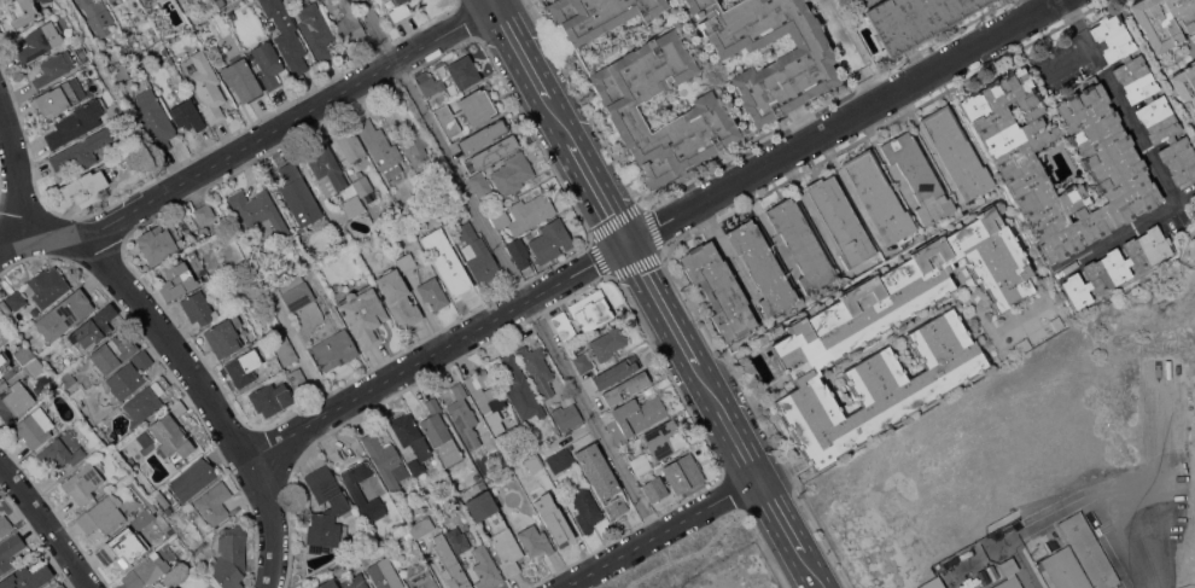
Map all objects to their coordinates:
building: (110, 0)
building: (151, 0)
building: (115, 1)
road: (495, 2)
road: (1049, 2)
building: (208, 4)
building: (400, 10)
building: (18, 13)
building: (97, 14)
building: (597, 14)
building: (914, 19)
building: (348, 21)
building: (1164, 21)
building: (316, 29)
building: (286, 35)
building: (40, 40)
road: (852, 51)
building: (266, 63)
road: (1066, 64)
road: (532, 66)
building: (797, 66)
building: (48, 68)
building: (449, 76)
building: (241, 77)
building: (1184, 82)
building: (205, 83)
building: (59, 95)
building: (1146, 95)
building: (705, 107)
building: (467, 110)
building: (188, 115)
building: (155, 120)
building: (75, 122)
road: (280, 127)
building: (483, 135)
building: (350, 142)
building: (380, 147)
building: (81, 150)
building: (491, 152)
building: (956, 152)
building: (424, 161)
building: (1113, 163)
road: (1148, 163)
building: (327, 169)
building: (512, 173)
building: (919, 175)
building: (89, 182)
building: (362, 182)
building: (479, 182)
road: (599, 186)
building: (298, 194)
building: (879, 198)
building: (352, 205)
building: (223, 206)
building: (258, 211)
building: (204, 213)
building: (524, 213)
building: (839, 220)
road: (653, 229)
building: (443, 239)
building: (550, 239)
building: (159, 241)
road: (28, 243)
traffic signals: (631, 243)
building: (801, 244)
building: (1193, 250)
building: (477, 252)
building: (192, 254)
building: (520, 254)
building: (404, 257)
road: (514, 264)
building: (1118, 264)
building: (762, 266)
building: (453, 276)
building: (177, 279)
building: (45, 281)
building: (718, 289)
building: (433, 292)
building: (298, 295)
building: (398, 297)
building: (16, 298)
building: (198, 308)
building: (590, 309)
building: (64, 314)
building: (365, 314)
road: (674, 318)
building: (0, 325)
building: (564, 325)
building: (94, 326)
road: (156, 327)
building: (0, 330)
building: (223, 336)
building: (827, 338)
building: (607, 343)
building: (284, 347)
building: (336, 348)
building: (112, 353)
building: (24, 354)
building: (4, 361)
building: (583, 361)
building: (36, 366)
building: (243, 367)
building: (538, 368)
building: (617, 371)
building: (129, 373)
building: (65, 377)
building: (297, 377)
building: (626, 386)
building: (520, 388)
building: (485, 391)
building: (77, 392)
building: (272, 397)
building: (13, 400)
building: (146, 400)
building: (177, 407)
building: (566, 413)
building: (636, 414)
building: (464, 415)
building: (35, 426)
building: (441, 433)
road: (739, 433)
building: (410, 435)
building: (171, 438)
building: (664, 438)
building: (541, 452)
building: (59, 453)
building: (386, 460)
building: (558, 460)
building: (641, 462)
building: (416, 466)
building: (519, 471)
building: (538, 471)
building: (686, 471)
building: (192, 478)
building: (602, 478)
building: (82, 482)
building: (480, 483)
building: (460, 485)
building: (494, 489)
road: (1161, 491)
building: (655, 493)
building: (362, 495)
building: (162, 497)
building: (389, 499)
building: (214, 502)
building: (585, 508)
building: (325, 510)
building: (101, 514)
building: (142, 516)
building: (553, 520)
road: (48, 524)
building: (5, 525)
building: (421, 526)
road: (789, 526)
building: (496, 530)
road: (661, 531)
building: (403, 534)
building: (457, 538)
building: (535, 540)
building: (122, 547)
building: (1089, 549)
building: (10, 551)
road: (696, 551)
park: (689, 555)
building: (231, 557)
building: (450, 564)
building: (485, 566)
building: (339, 569)
building: (1066, 569)
building: (146, 571)
building: (385, 574)
building: (1009, 575)
building: (420, 576)
building: (27, 577)
building: (355, 582)
road: (821, 582)
building: (327, 583)
building: (933, 583)
building: (60, 586)
building: (170, 586)
building: (304, 587)

